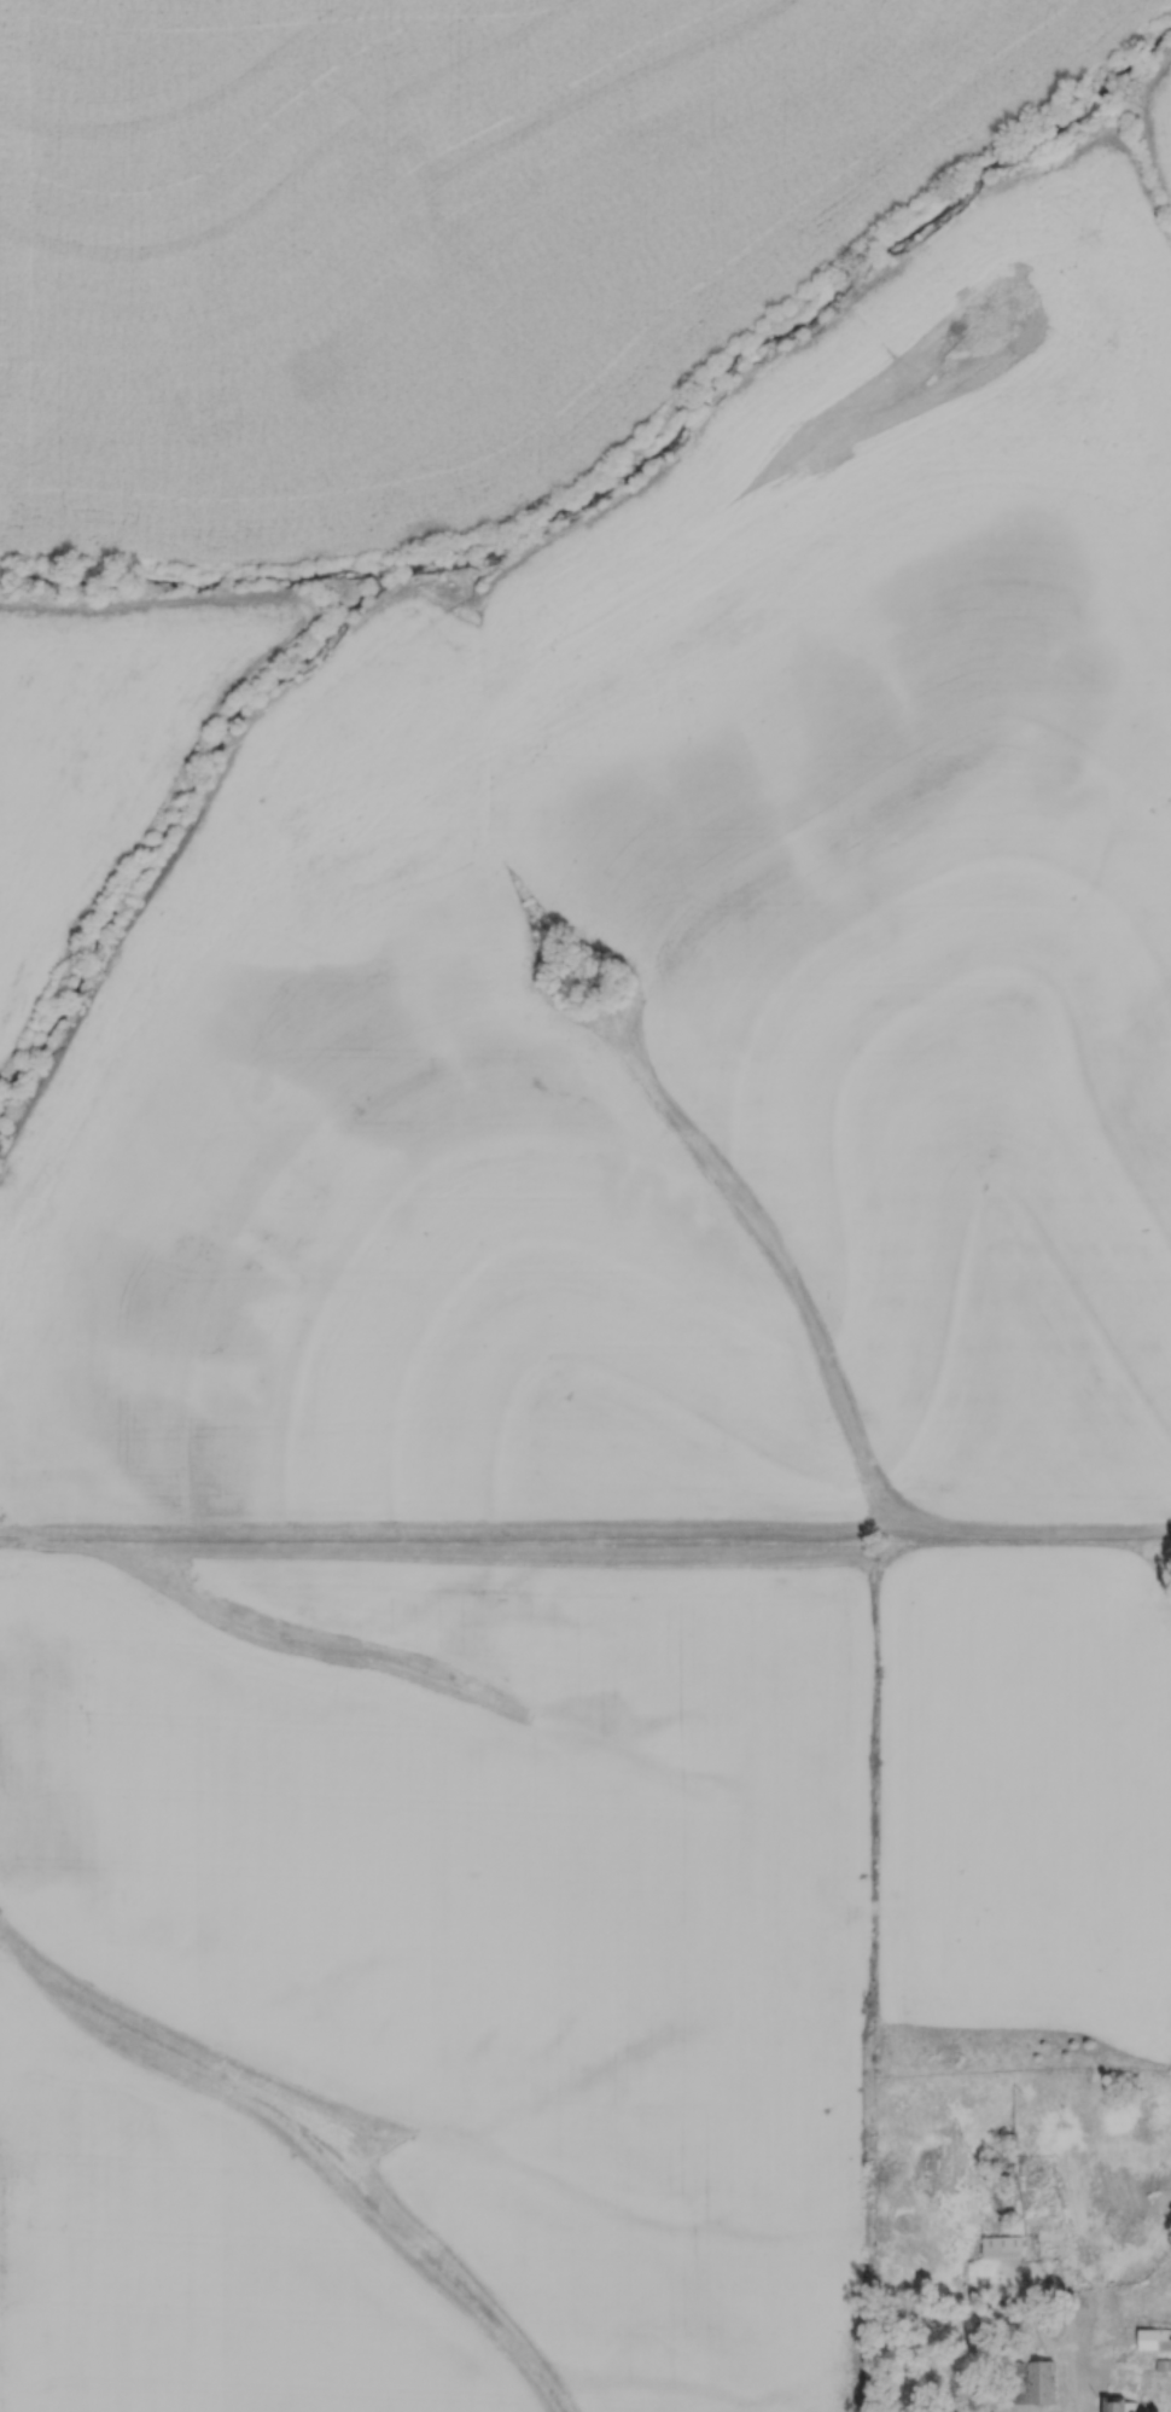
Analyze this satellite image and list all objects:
building: (1000, 2248)
building: (1153, 2340)
building: (1163, 2365)
building: (1030, 2383)
building: (1118, 2405)

